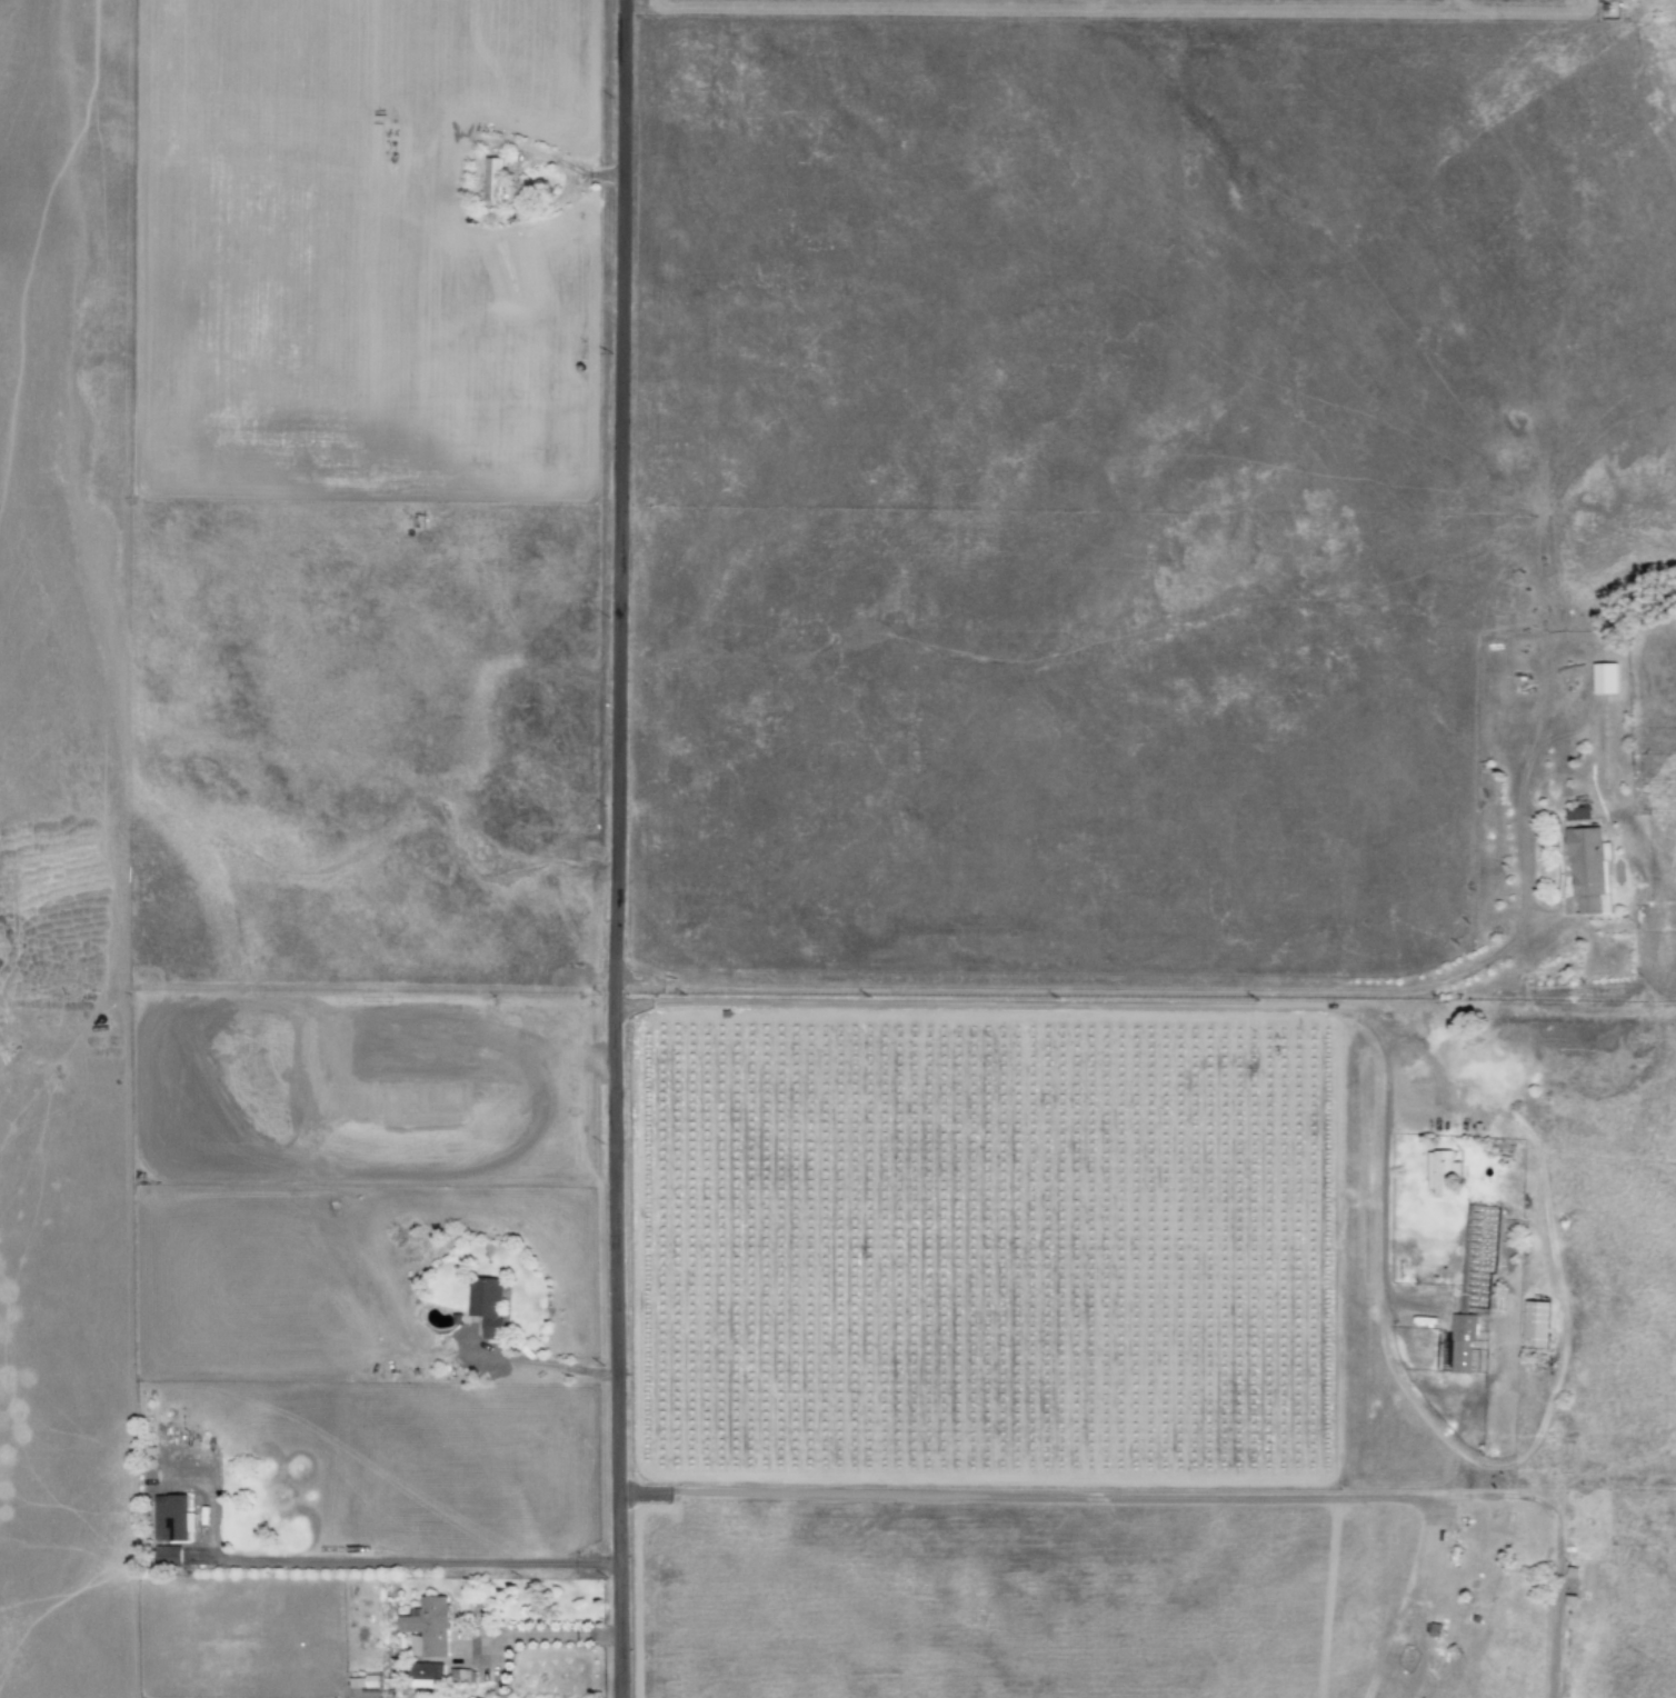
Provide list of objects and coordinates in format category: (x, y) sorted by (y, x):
building: (491, 179)
building: (1604, 678)
building: (1576, 813)
road: (611, 849)
building: (1588, 870)
road: (1143, 1005)
building: (1441, 1173)
building: (486, 1305)
building: (1536, 1325)
building: (1458, 1344)
building: (171, 1518)
building: (167, 1556)
road: (389, 1562)
building: (427, 1627)
building: (428, 1675)
building: (458, 1676)
building: (362, 1681)

